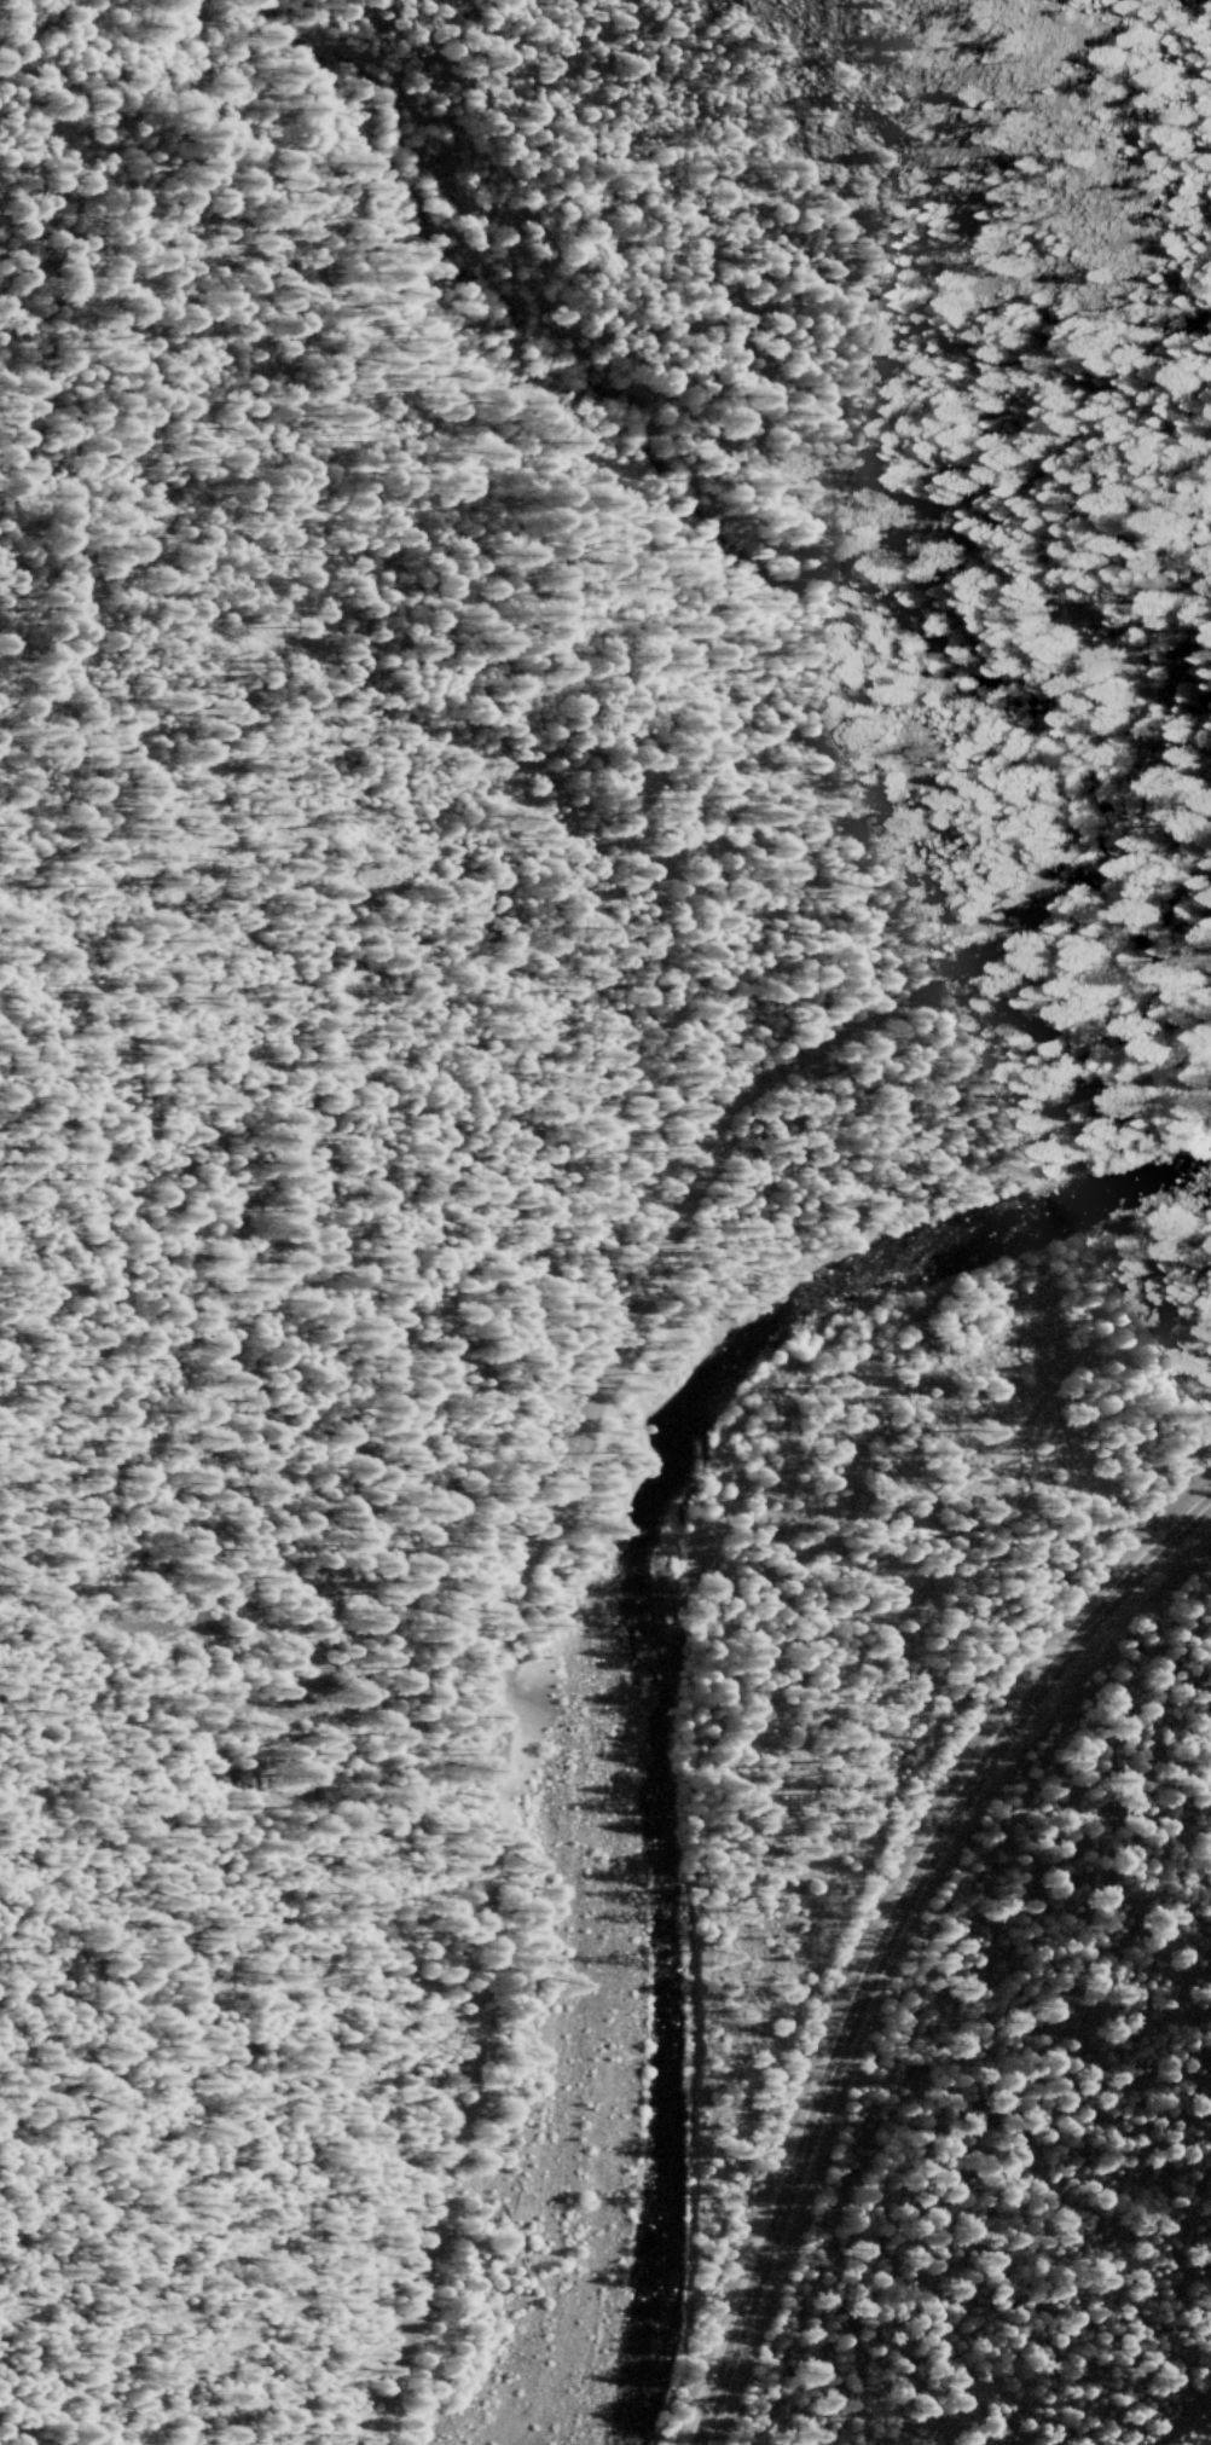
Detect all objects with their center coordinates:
road: (693, 621)
road: (1170, 709)
parking lot: (1161, 830)
road: (1205, 883)
road: (531, 1551)
river: (648, 1684)
road: (917, 2011)

